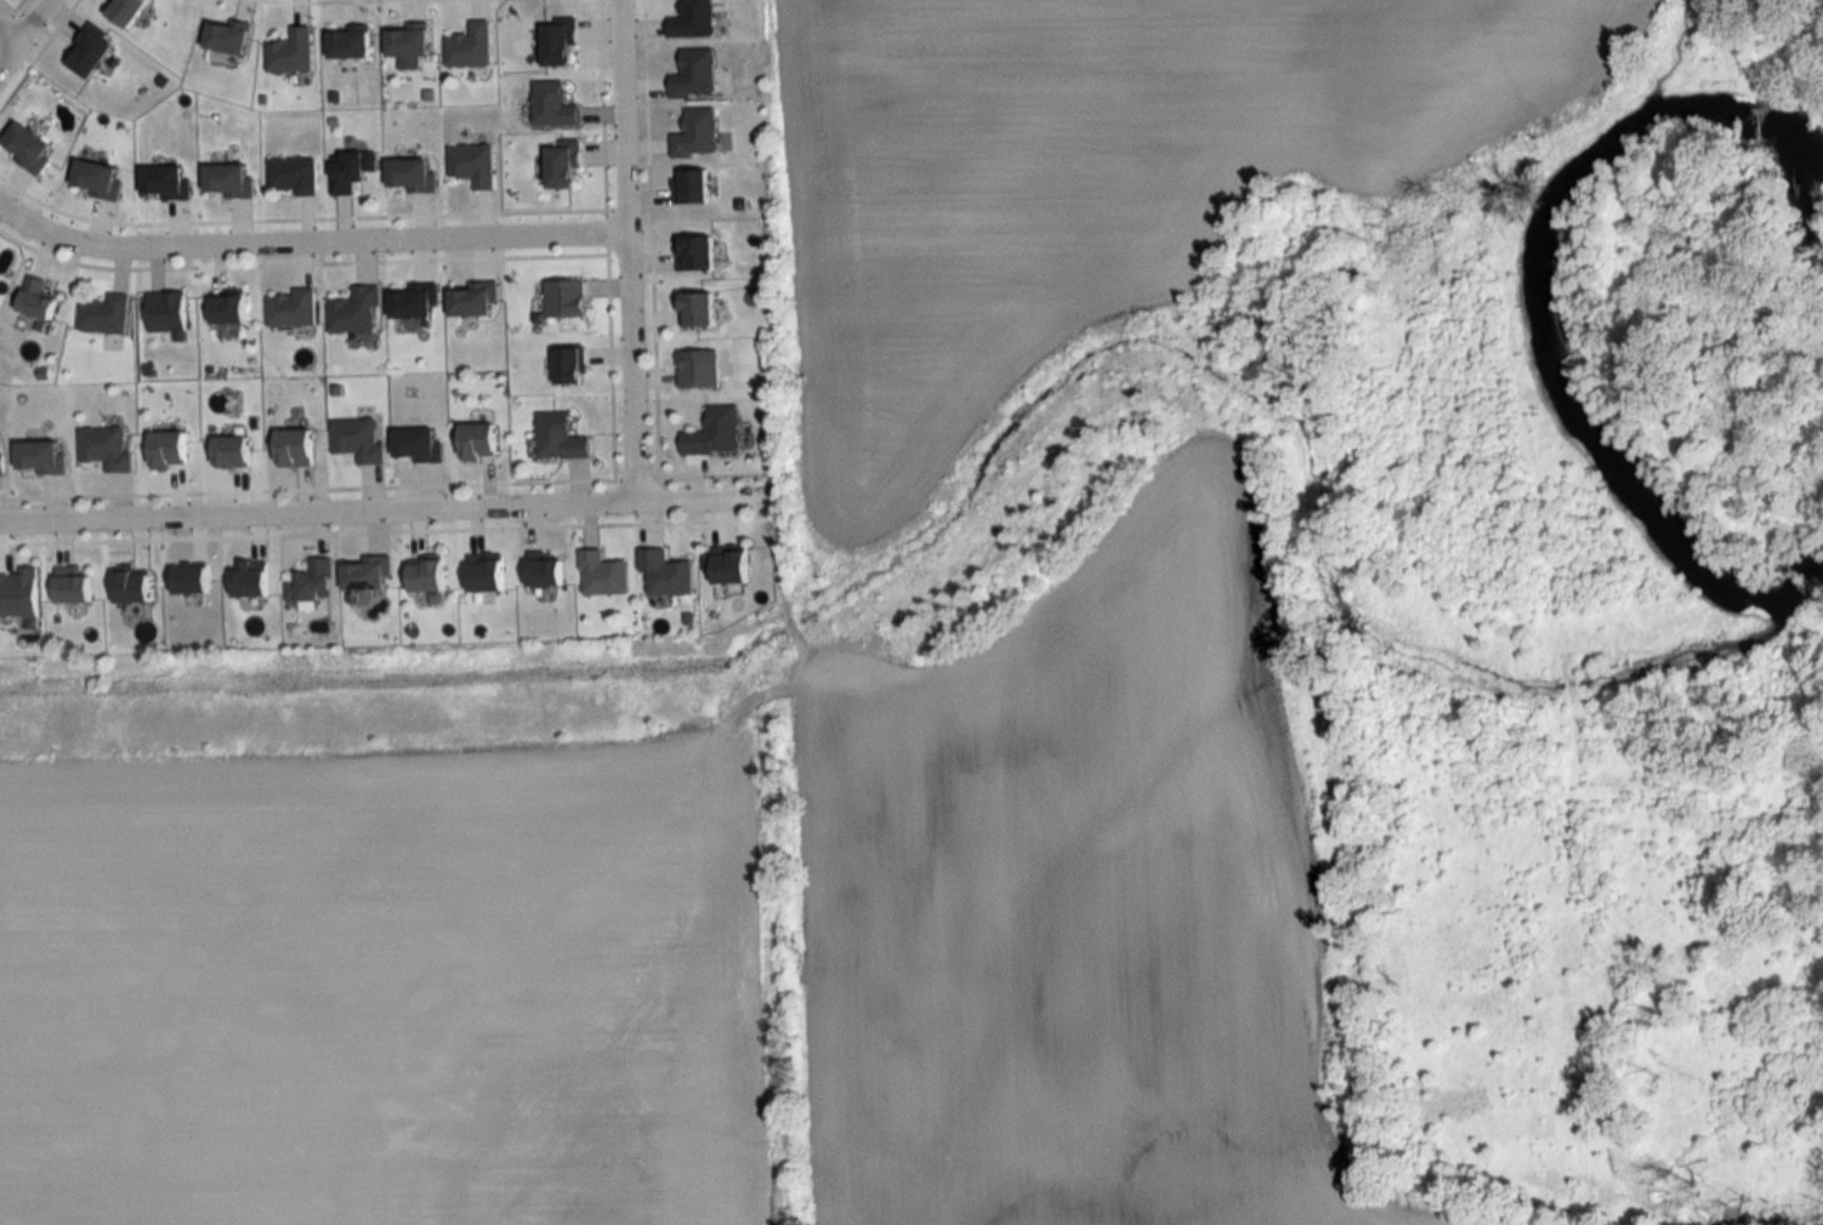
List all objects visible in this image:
building: (126, 11)
building: (693, 19)
road: (19, 28)
road: (6, 34)
building: (227, 39)
building: (408, 41)
building: (350, 44)
building: (557, 45)
building: (470, 46)
building: (290, 52)
building: (694, 75)
building: (553, 106)
building: (697, 135)
building: (472, 164)
building: (562, 165)
building: (351, 171)
building: (291, 176)
crop: (1080, 177)
building: (691, 187)
road: (307, 244)
road: (625, 251)
building: (694, 253)
river: (1549, 295)
building: (36, 298)
building: (564, 300)
building: (228, 309)
building: (291, 309)
building: (695, 309)
building: (353, 310)
building: (166, 313)
building: (104, 314)
building: (698, 369)
building: (714, 433)
building: (560, 438)
building: (357, 439)
building: (478, 441)
building: (294, 448)
building: (106, 449)
building: (167, 449)
building: (231, 451)
road: (387, 509)
building: (728, 568)
building: (545, 572)
building: (665, 574)
building: (602, 575)
building: (427, 576)
building: (312, 582)
crop: (1073, 907)
crop: (381, 988)

